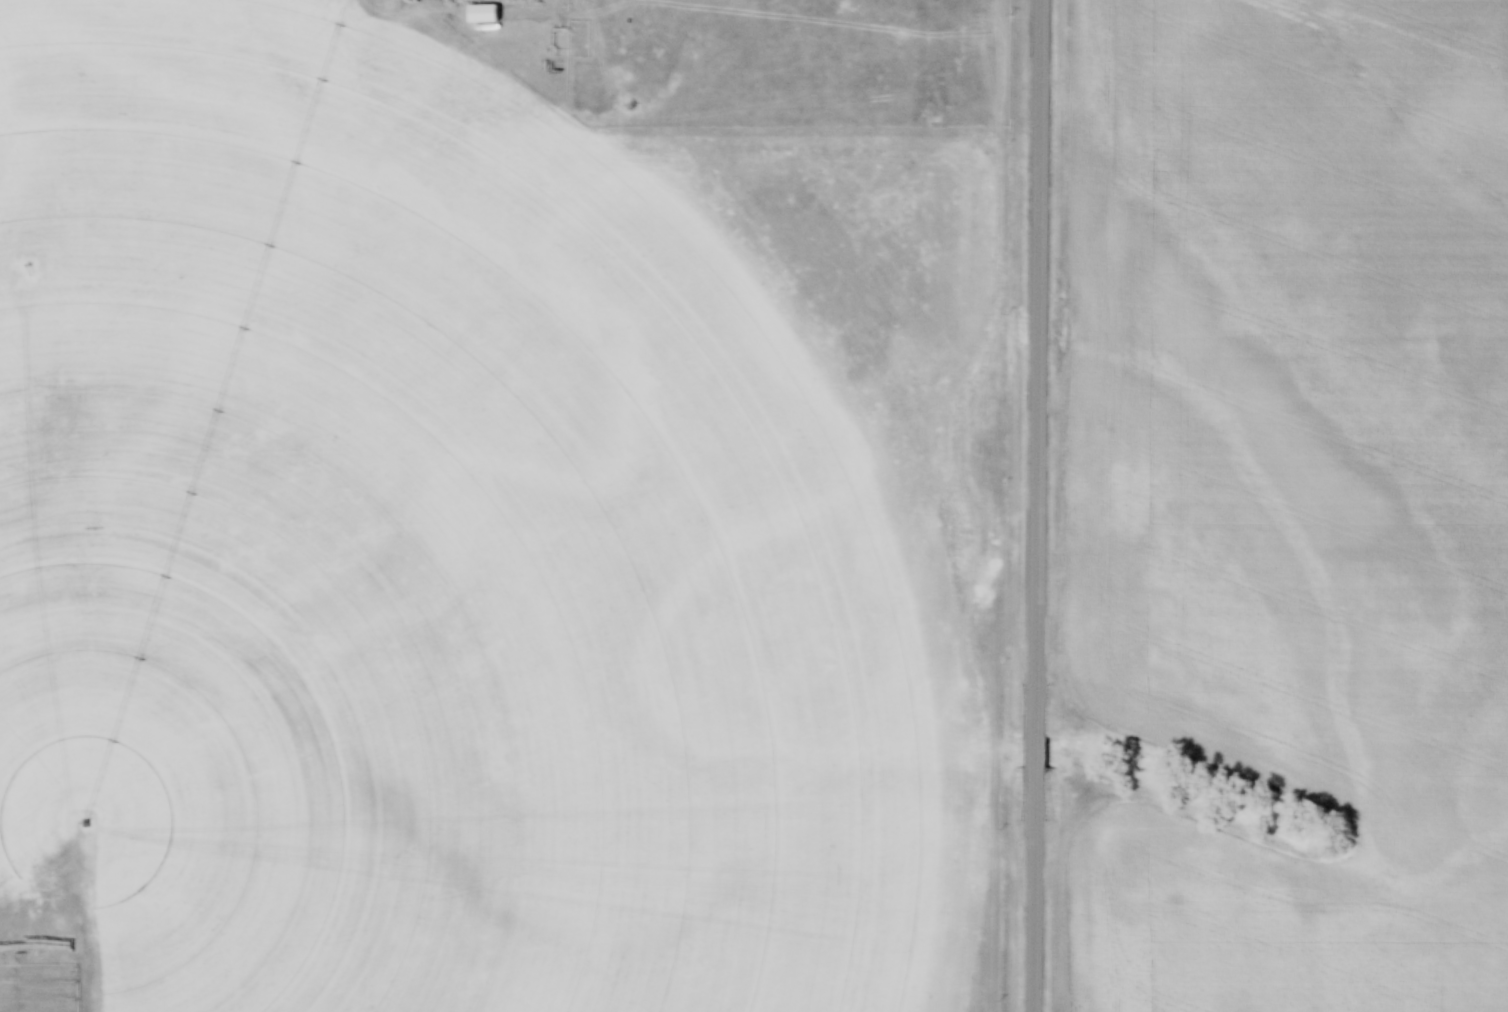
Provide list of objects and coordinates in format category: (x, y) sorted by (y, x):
building: (485, 14)
road: (1033, 505)

